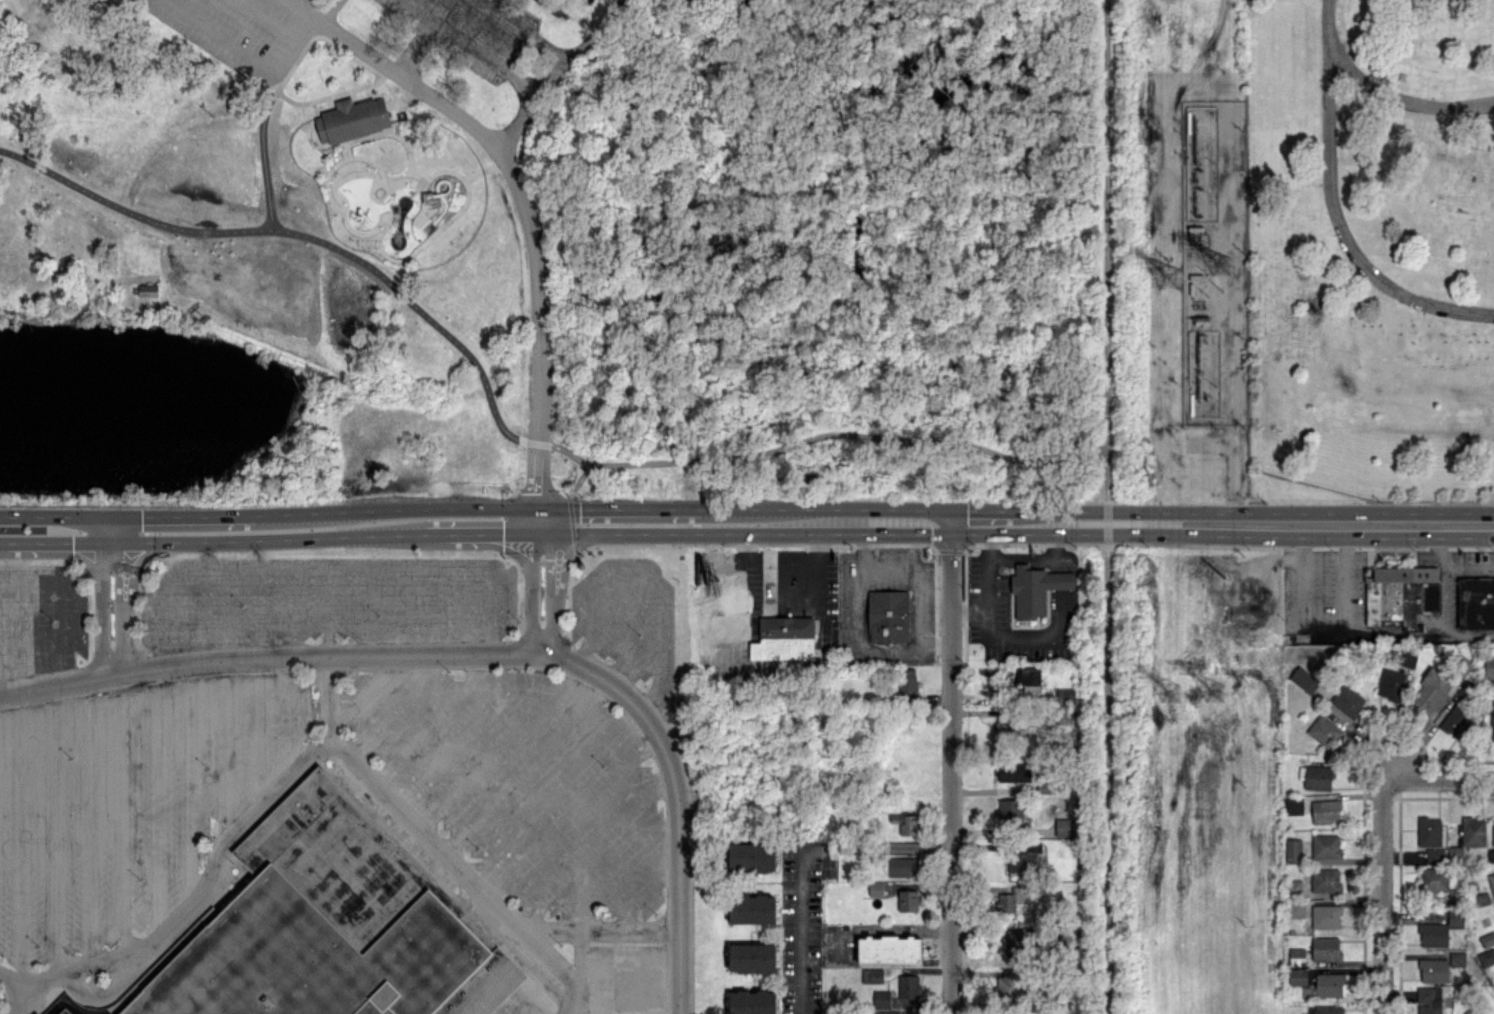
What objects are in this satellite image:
road: (299, 7)
road: (329, 11)
road: (263, 20)
parking lot: (471, 29)
parking lot: (246, 30)
road: (520, 30)
road: (475, 46)
road: (247, 55)
building: (59, 61)
road: (556, 71)
road: (1397, 98)
building: (352, 119)
road: (262, 155)
road: (519, 184)
water park: (392, 204)
road: (1333, 208)
road: (130, 211)
park: (1370, 249)
road: (1110, 250)
power tower: (1221, 263)
power substation: (1214, 264)
power tower: (1169, 277)
building: (148, 289)
road: (428, 314)
dam: (270, 351)
road: (830, 434)
road: (566, 452)
road: (537, 482)
road: (545, 494)
road: (440, 507)
road: (501, 508)
traffic signals: (533, 509)
traffic signals: (547, 509)
road: (650, 509)
road: (861, 509)
road: (372, 511)
road: (1107, 512)
road: (49, 515)
traffic signals: (98, 516)
road: (106, 516)
road: (293, 516)
traffic signals: (115, 517)
road: (183, 517)
road: (1254, 524)
traffic signals: (953, 525)
road: (984, 525)
road: (572, 526)
road: (99, 529)
road: (115, 529)
road: (652, 534)
road: (856, 534)
road: (1107, 534)
road: (461, 535)
road: (502, 535)
traffic signals: (532, 535)
road: (540, 535)
traffic signals: (548, 535)
road: (437, 536)
road: (340, 537)
road: (185, 540)
road: (67, 542)
traffic signals: (100, 542)
road: (107, 542)
traffic signals: (115, 542)
road: (2, 543)
road: (19, 543)
road: (1444, 546)
road: (494, 547)
road: (70, 552)
road: (1022, 555)
traffic signals: (142, 560)
road: (1057, 563)
road: (1469, 568)
road: (330, 574)
road: (559, 578)
road: (1059, 580)
road: (130, 581)
road: (530, 581)
road: (653, 584)
building: (1035, 589)
building: (1401, 594)
road: (547, 595)
road: (1444, 596)
road: (986, 598)
road: (66, 599)
parking lot: (326, 601)
building: (1476, 603)
road: (115, 608)
road: (99, 609)
road: (441, 614)
road: (290, 615)
road: (328, 615)
road: (365, 615)
road: (401, 615)
road: (256, 616)
building: (888, 616)
road: (221, 617)
parking lot: (40, 619)
road: (187, 619)
parking lot: (628, 622)
road: (1323, 629)
road: (44, 631)
road: (1031, 633)
road: (1398, 633)
road: (9, 634)
road: (1467, 635)
road: (920, 637)
building: (784, 638)
road: (636, 642)
road: (937, 643)
road: (484, 655)
building: (1407, 657)
building: (1489, 666)
road: (476, 669)
building: (1030, 679)
building: (1304, 679)
building: (908, 682)
building: (1391, 683)
road: (491, 684)
building: (1491, 687)
building: (1431, 689)
road: (368, 691)
power tower: (1223, 693)
building: (1065, 695)
road: (119, 697)
power tower: (1171, 697)
building: (1347, 700)
road: (328, 701)
road: (396, 710)
road: (290, 716)
building: (1492, 719)
building: (1002, 721)
building: (1457, 721)
building: (1323, 730)
road: (257, 732)
road: (421, 734)
road: (456, 745)
road: (500, 747)
road: (223, 751)
road: (528, 768)
road: (953, 769)
building: (1014, 771)
building: (1318, 777)
road: (1440, 778)
road: (1108, 779)
parking lot: (522, 782)
road: (189, 788)
road: (554, 794)
road: (155, 805)
building: (1294, 805)
parking lot: (125, 808)
building: (1010, 811)
building: (1326, 811)
road: (575, 819)
building: (906, 823)
road: (87, 824)
building: (1064, 826)
road: (123, 828)
road: (54, 831)
building: (1429, 831)
building: (1493, 831)
road: (21, 836)
building: (1469, 836)
road: (877, 844)
building: (1326, 845)
road: (595, 849)
building: (1293, 850)
building: (1435, 855)
building: (1491, 855)
building: (752, 857)
building: (1022, 860)
building: (902, 866)
road: (458, 869)
road: (622, 871)
building: (1434, 879)
building: (1326, 880)
building: (1491, 882)
building: (1296, 885)
building: (876, 888)
road: (645, 893)
road: (1385, 896)
building: (1009, 899)
building: (908, 900)
road: (196, 906)
building: (752, 908)
building: (1295, 910)
building: (1326, 916)
building: (323, 928)
road: (800, 929)
building: (1441, 929)
road: (601, 932)
building: (1487, 939)
building: (1014, 943)
building: (1326, 947)
building: (890, 949)
building: (1297, 954)
building: (752, 957)
building: (1486, 957)
building: (1457, 958)
road: (583, 964)
road: (633, 967)
building: (1434, 969)
building: (872, 975)
parking lot: (622, 976)
building: (1298, 977)
building: (1329, 984)
building: (908, 985)
road: (109, 992)
road: (32, 996)
building: (882, 998)
building: (1429, 1000)
building: (752, 1002)
road: (574, 1005)
road: (628, 1007)
building: (1326, 1009)
building: (35, 1012)

